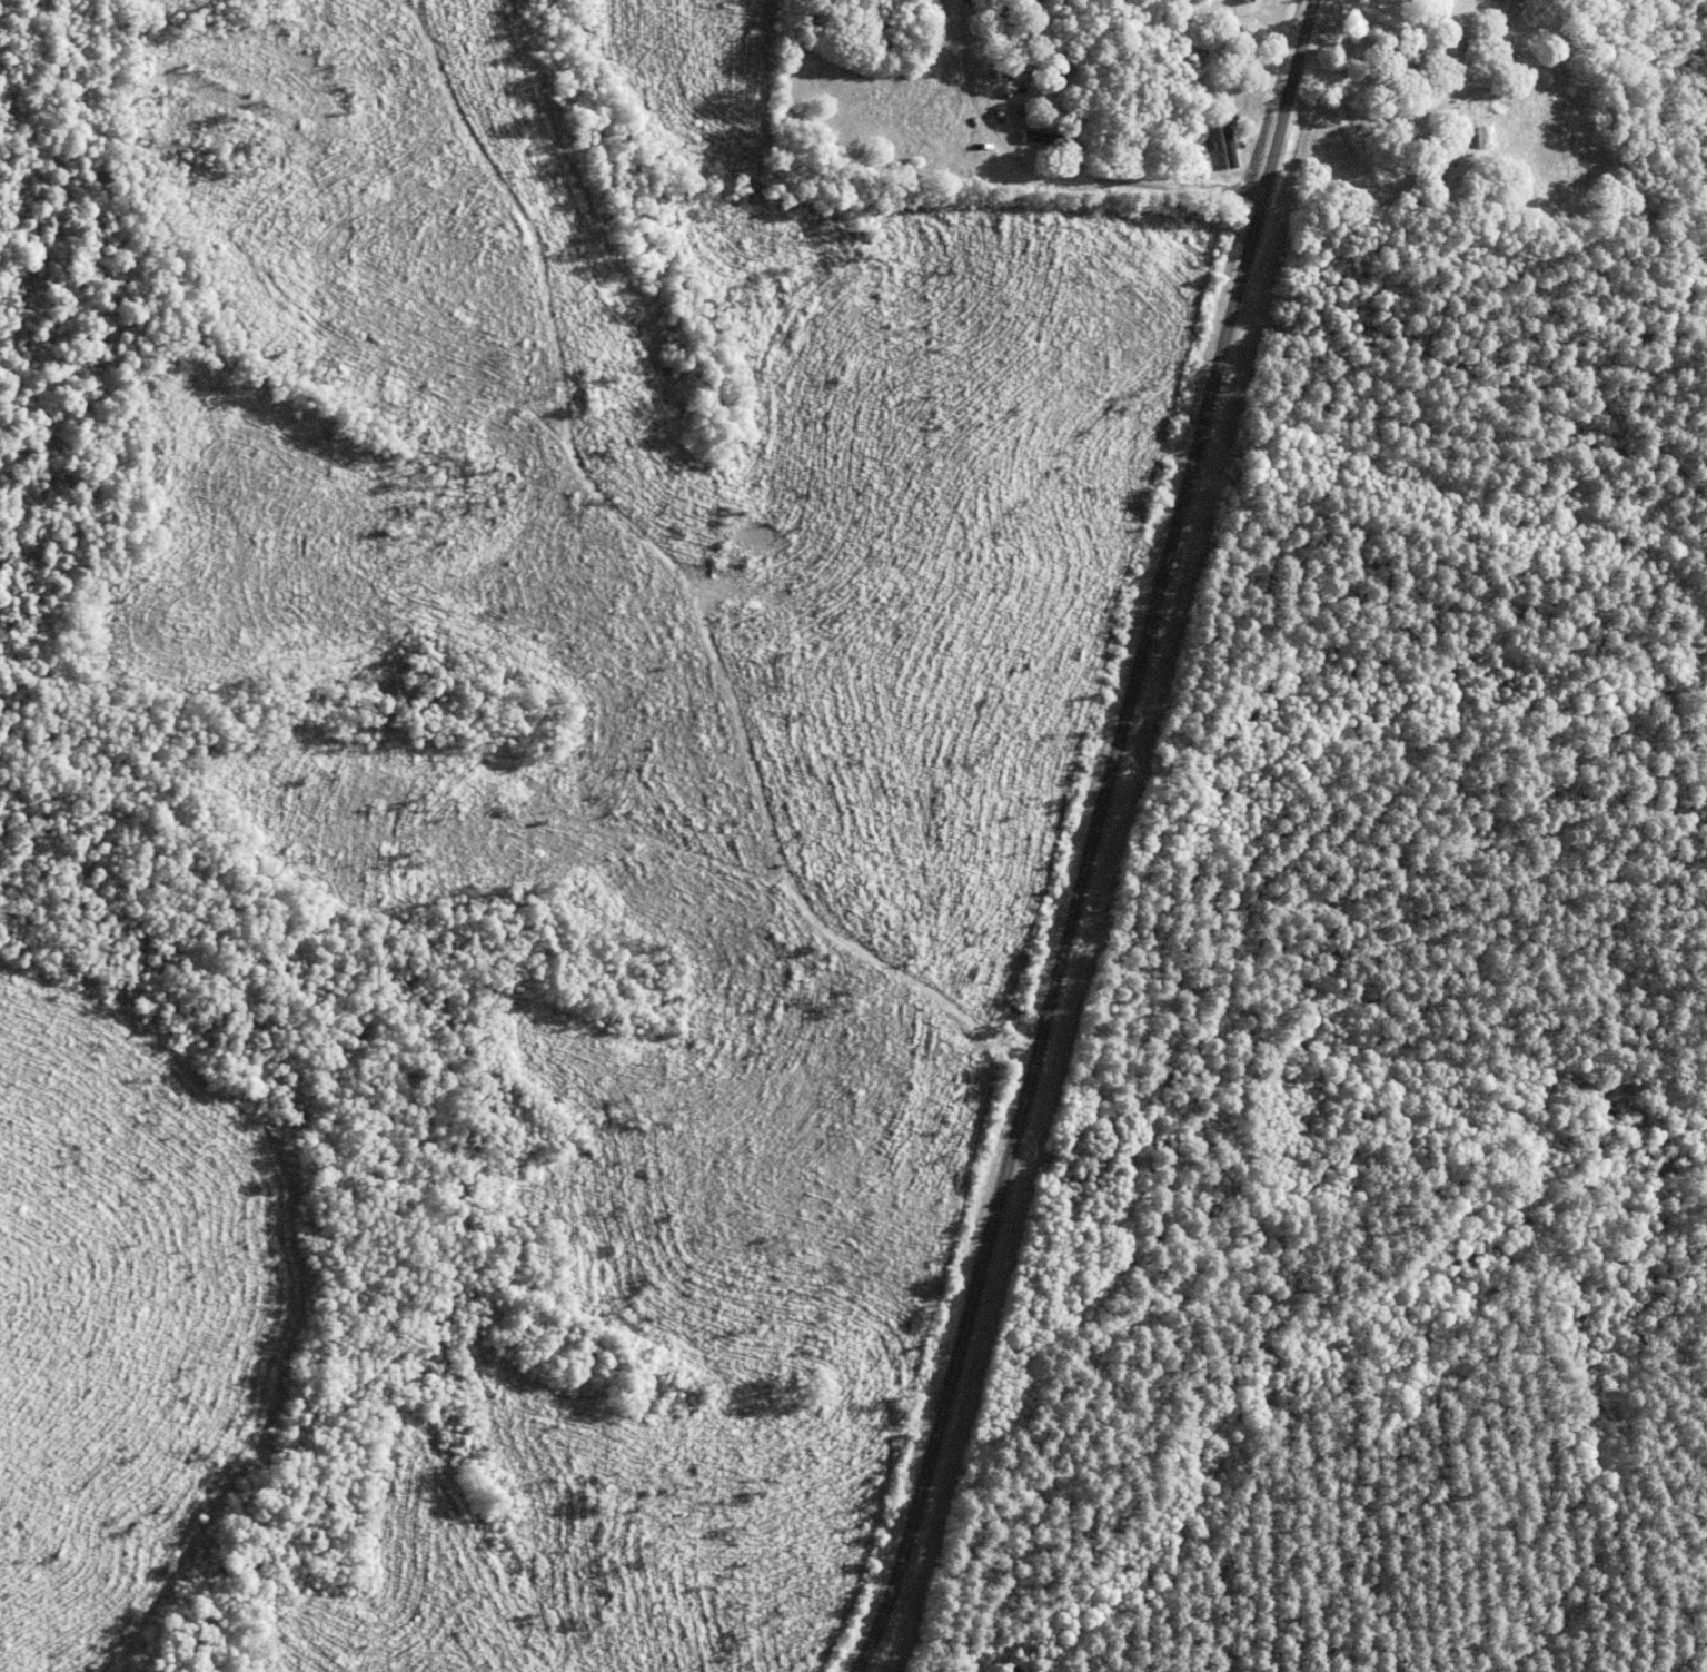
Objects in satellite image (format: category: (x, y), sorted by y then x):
building: (1035, 0)
building: (1435, 22)
building: (1205, 56)
building: (1030, 68)
building: (1392, 68)
building: (1450, 122)
building: (1034, 138)
building: (1053, 142)
building: (1212, 152)
building: (1429, 176)
road: (1093, 838)

